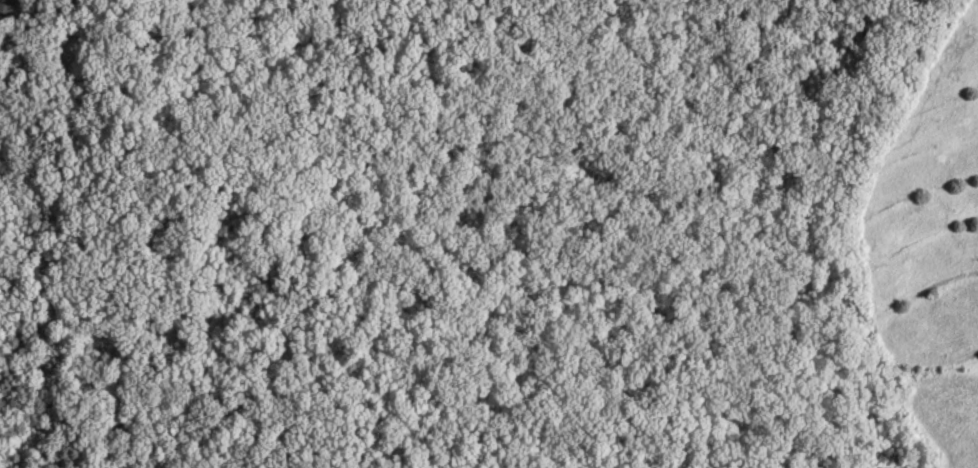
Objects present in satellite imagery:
building: (5, 17)
road: (178, 69)

